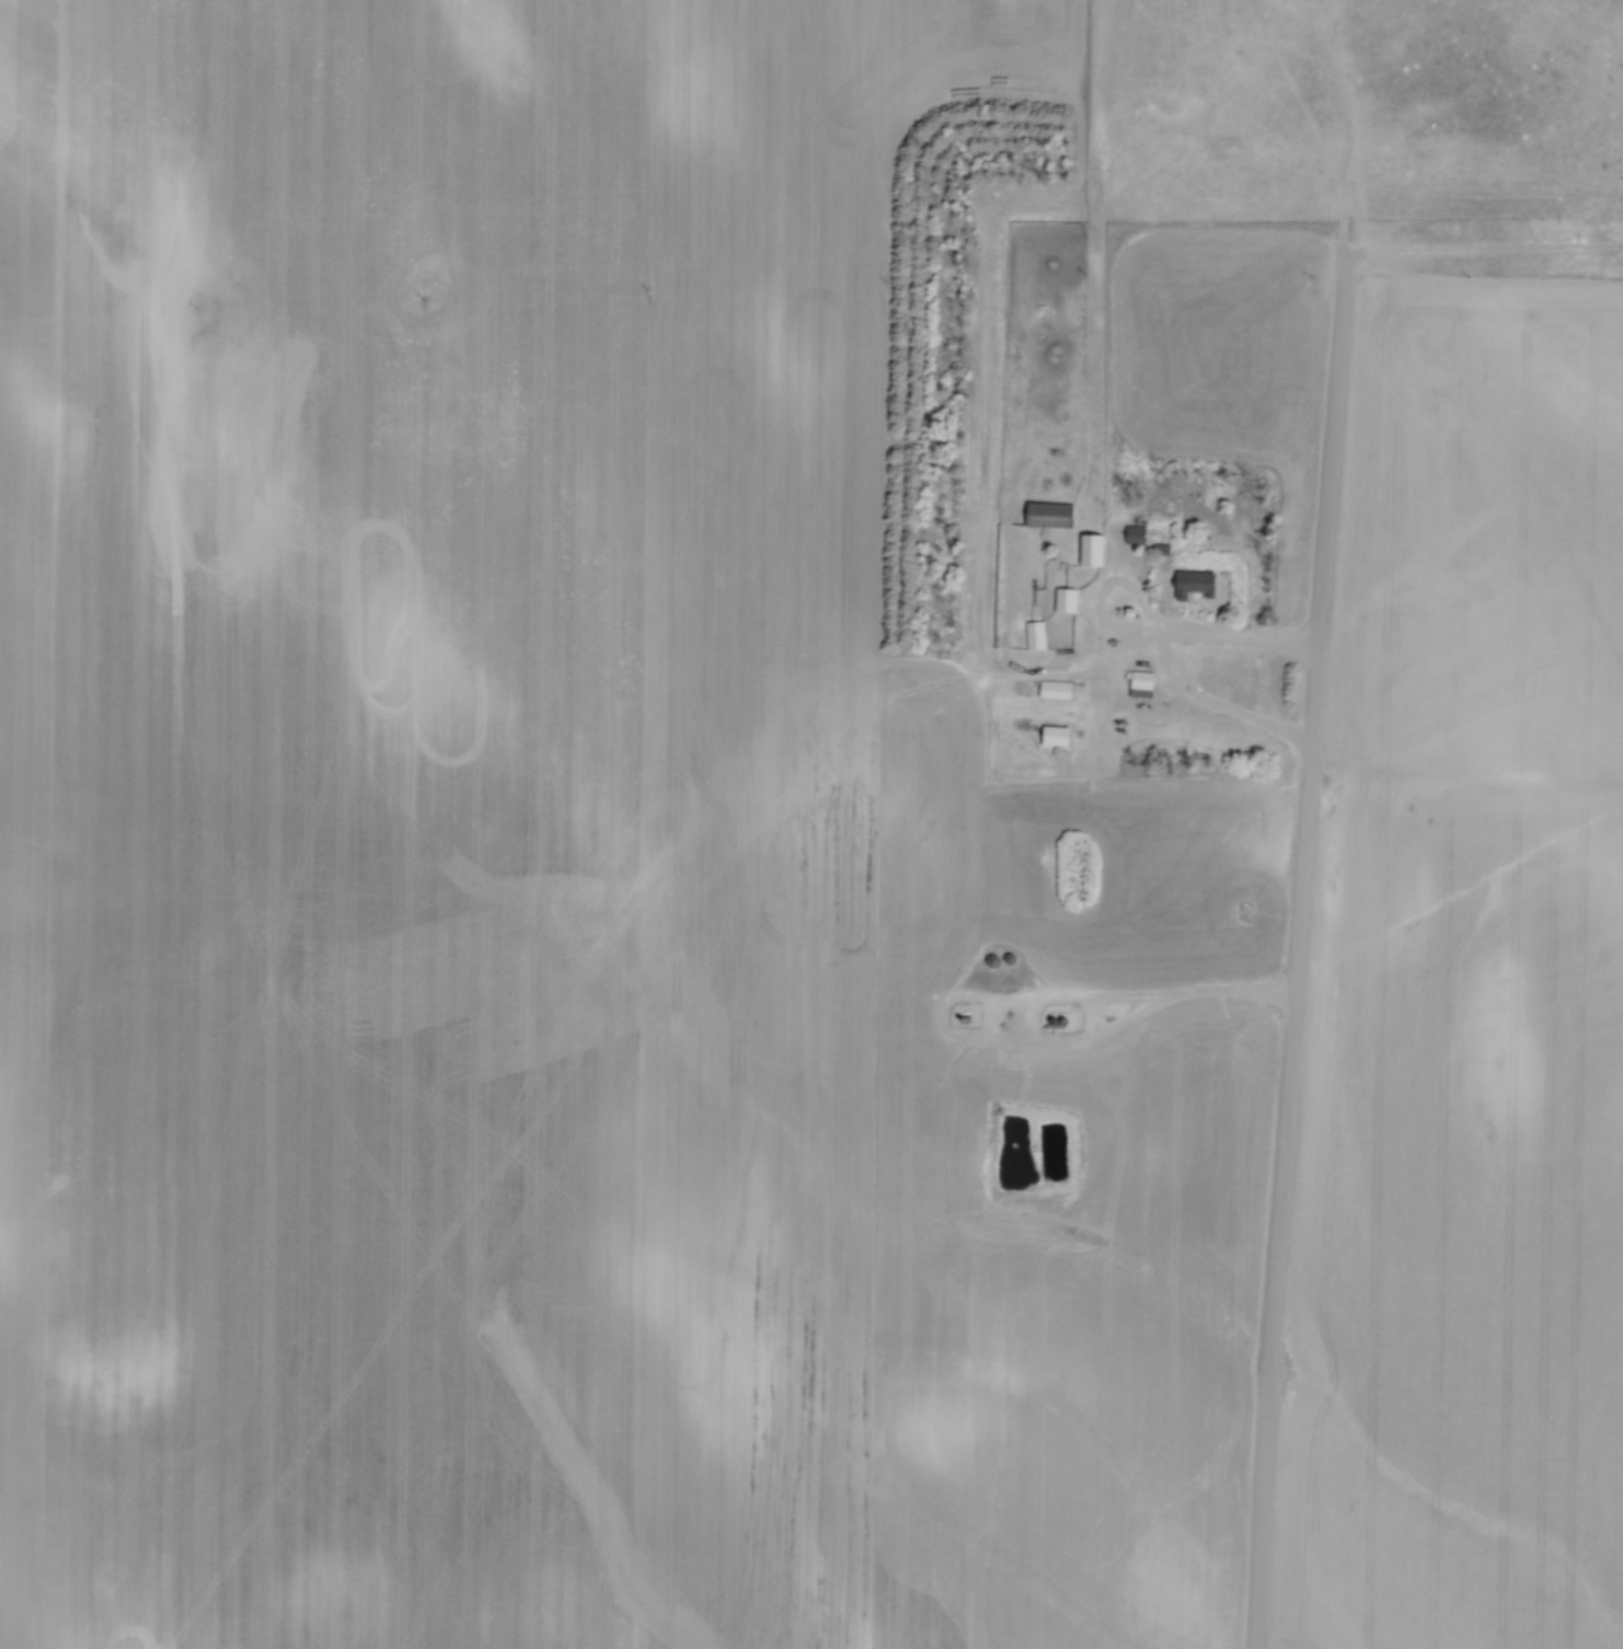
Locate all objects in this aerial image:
road: (987, 437)
building: (1051, 511)
building: (1137, 531)
building: (1092, 546)
building: (1196, 580)
building: (1068, 597)
road: (1167, 619)
building: (1037, 631)
building: (1143, 680)
building: (1057, 687)
building: (1058, 733)
crop: (564, 884)
silo: (1009, 956)
silo: (993, 957)
road: (1302, 968)
crop: (1470, 993)
road: (1100, 1028)

